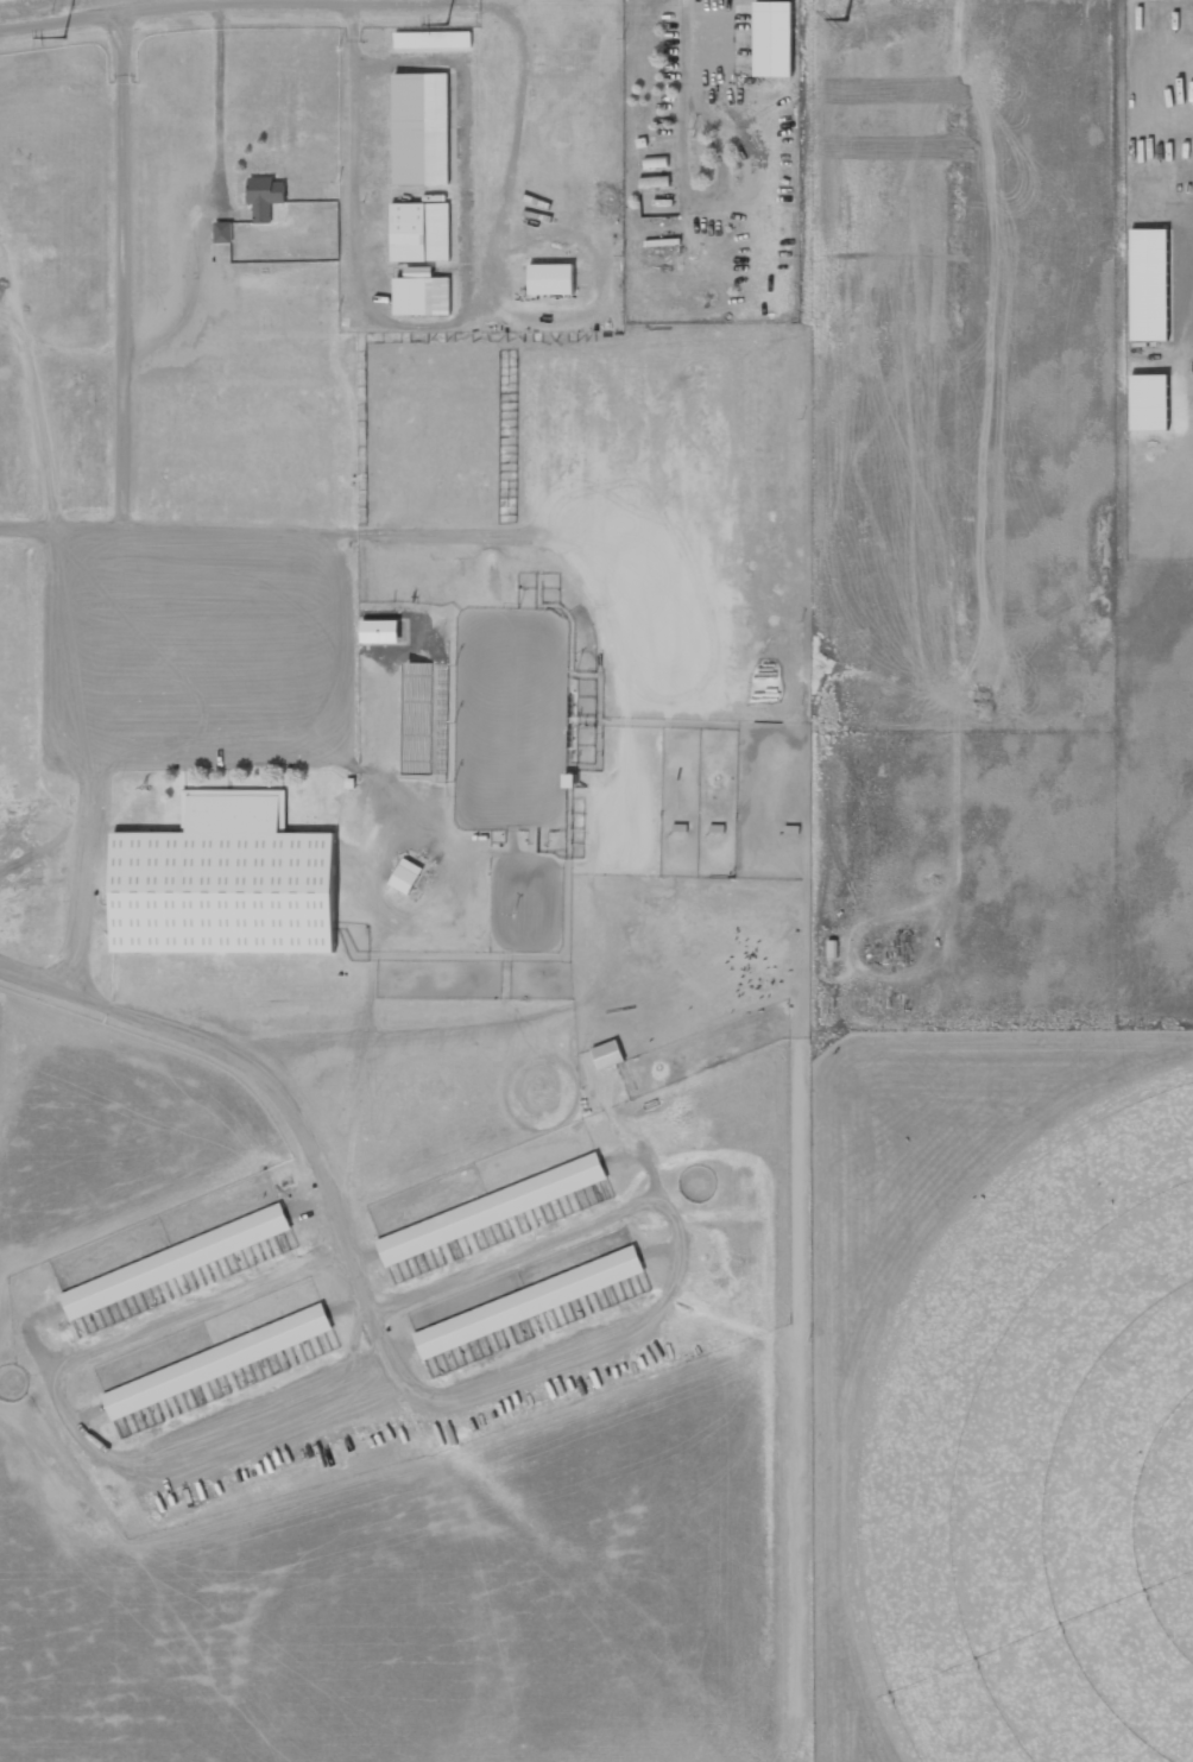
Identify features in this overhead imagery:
power tower: (848, 17)
power tower: (449, 23)
power tower: (63, 38)
building: (434, 42)
building: (422, 130)
building: (269, 200)
building: (225, 233)
building: (421, 233)
building: (551, 279)
building: (419, 718)
building: (408, 877)
building: (226, 882)
building: (608, 1055)
road: (276, 1092)
building: (492, 1210)
building: (177, 1262)
building: (529, 1303)
building: (219, 1363)
crop: (1039, 1455)

